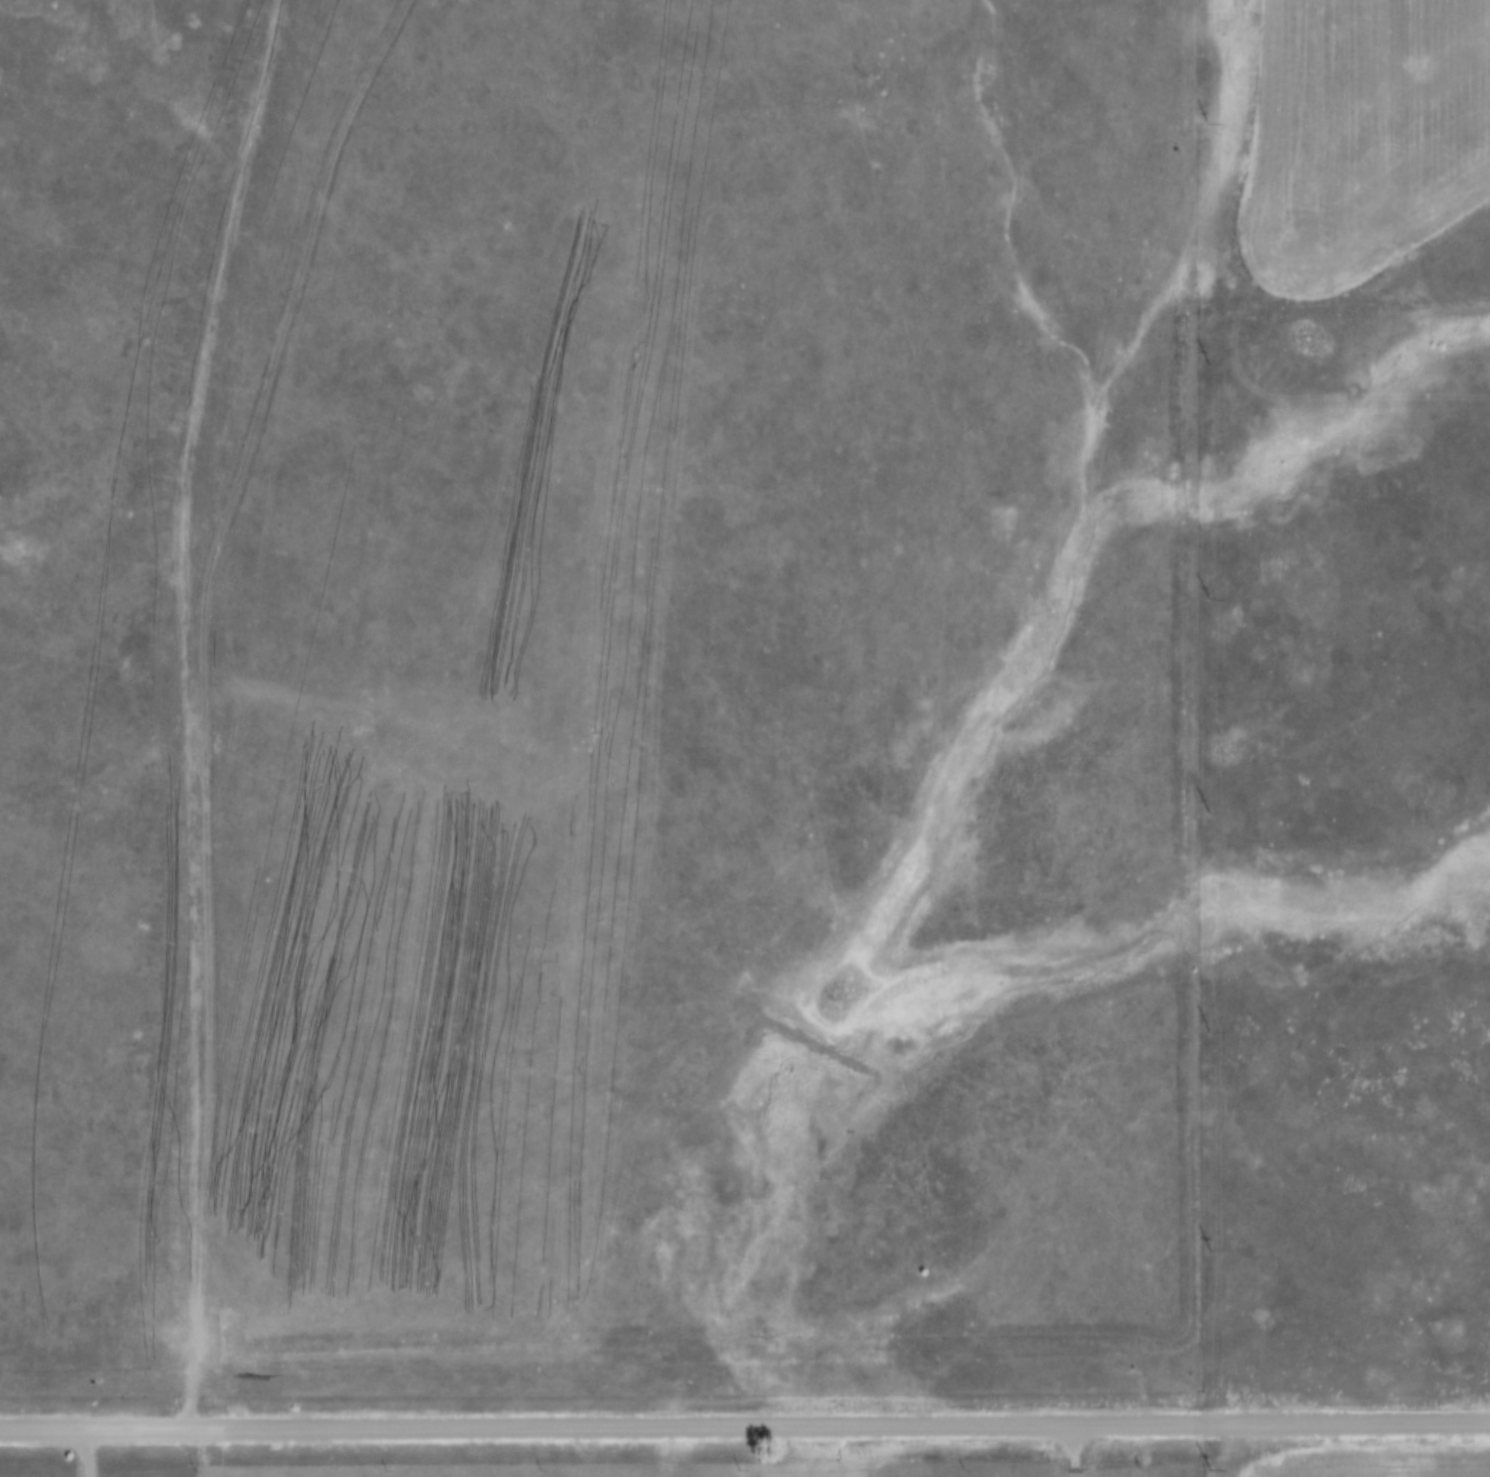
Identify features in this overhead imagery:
road: (744, 1428)
road: (1072, 1452)
road: (85, 1453)

